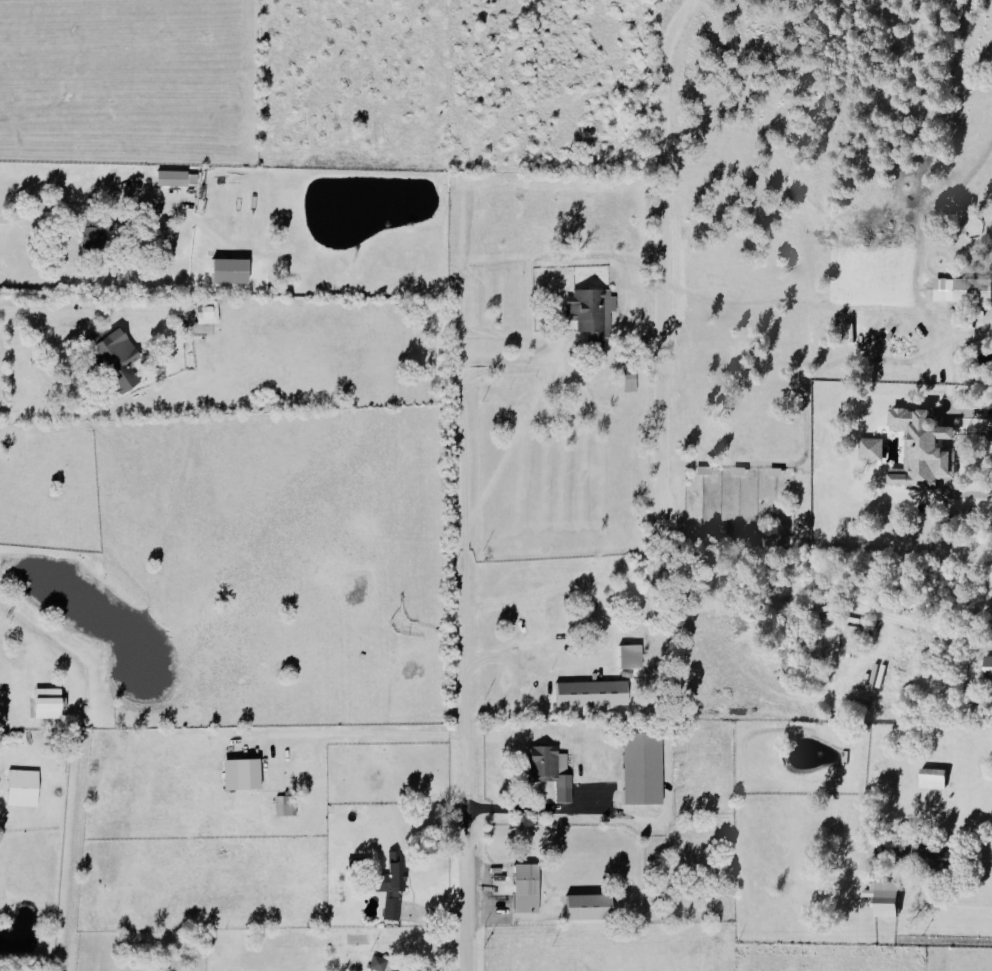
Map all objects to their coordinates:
building: (170, 178)
road: (72, 202)
building: (94, 233)
building: (226, 271)
building: (962, 290)
road: (22, 309)
building: (206, 313)
building: (589, 314)
road: (947, 350)
building: (870, 449)
building: (920, 451)
road: (461, 479)
road: (526, 656)
building: (628, 656)
building: (987, 667)
building: (589, 694)
building: (45, 703)
road: (359, 733)
building: (639, 769)
building: (548, 770)
building: (238, 775)
building: (931, 779)
building: (20, 788)
building: (284, 806)
road: (535, 811)
road: (467, 817)
building: (941, 859)
building: (390, 874)
building: (523, 889)
building: (882, 899)
road: (978, 902)
building: (584, 907)
building: (390, 909)
building: (375, 963)

